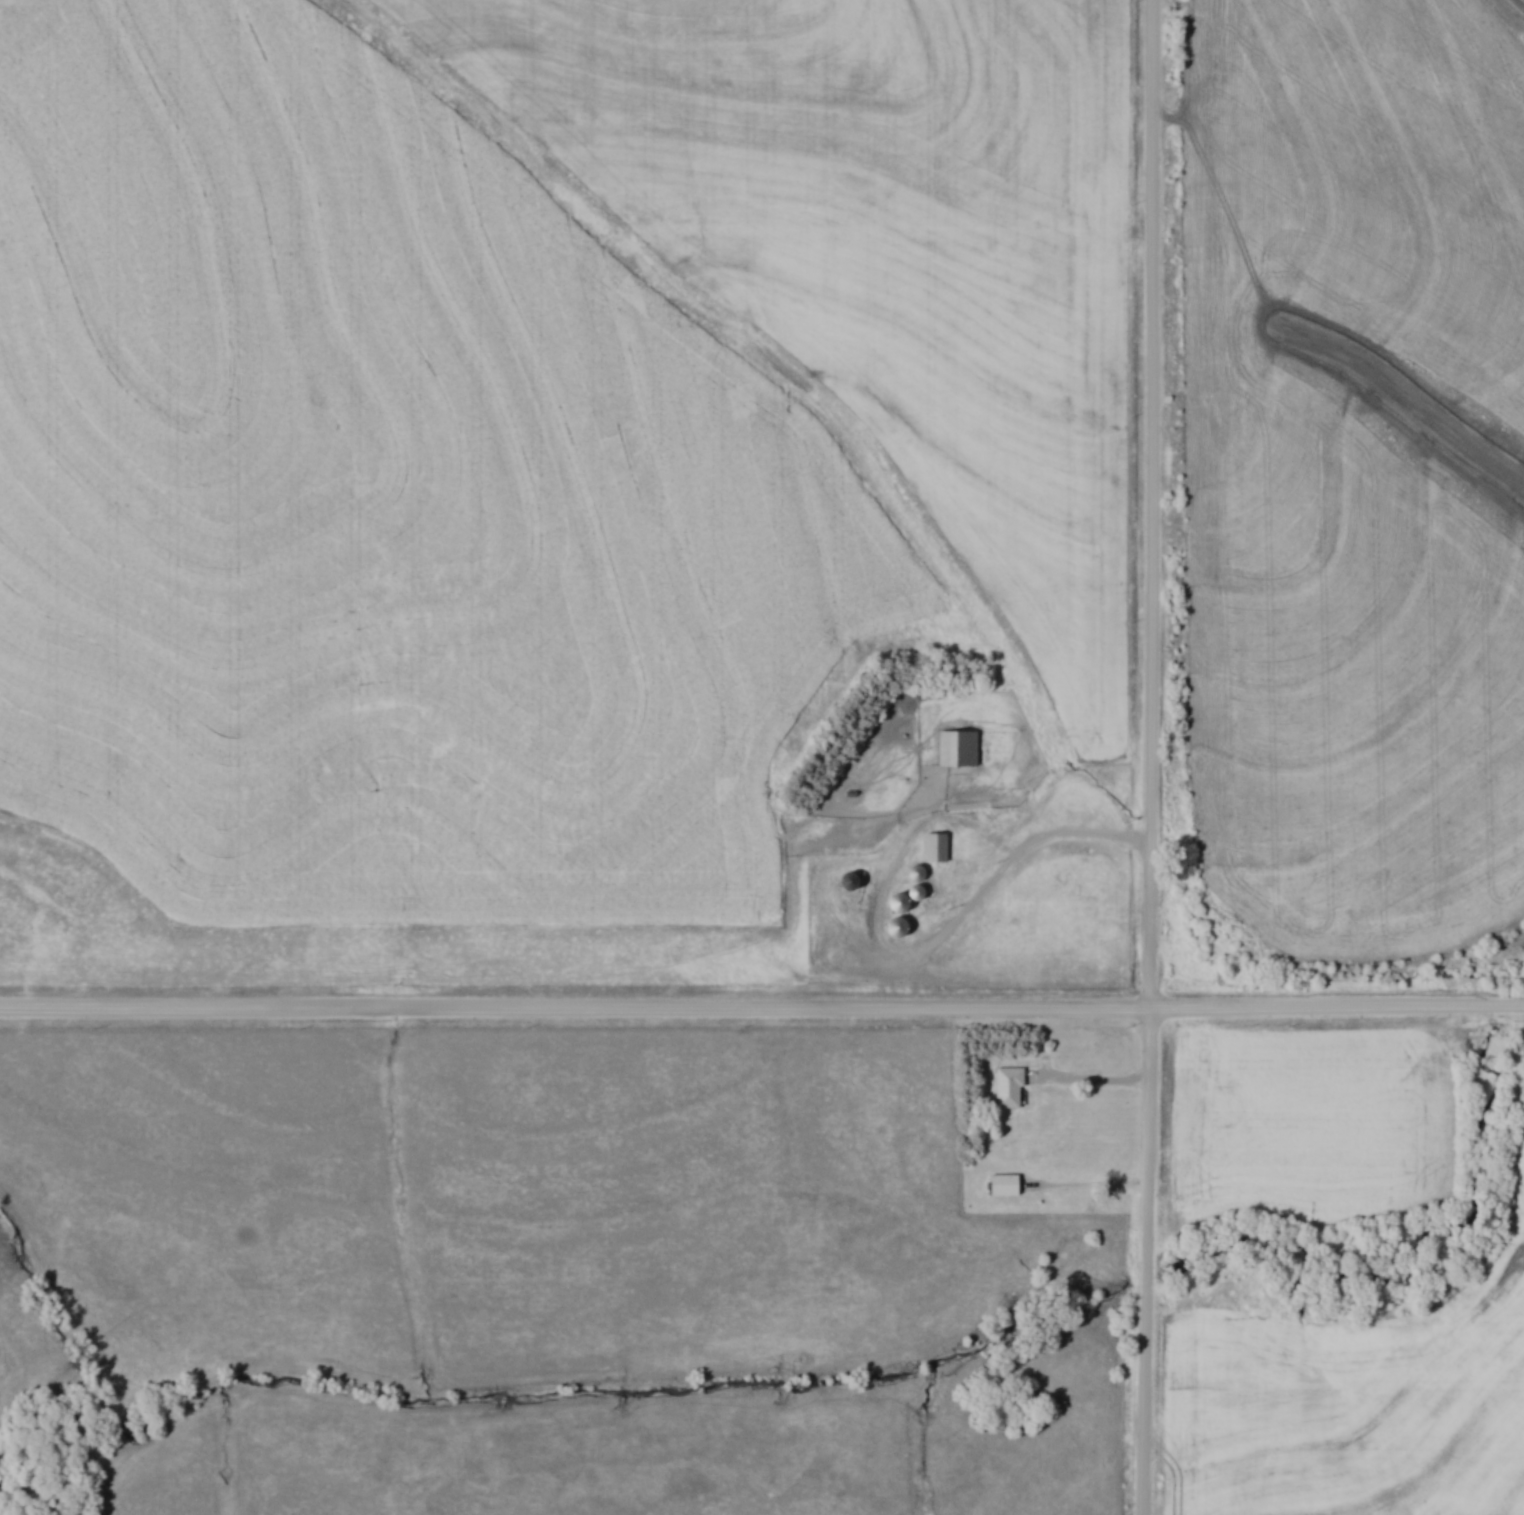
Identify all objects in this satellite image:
building: (962, 748)
road: (1155, 757)
building: (940, 847)
building: (856, 881)
building: (906, 902)
building: (903, 927)
road: (762, 1010)
road: (1092, 1086)
building: (1013, 1088)
building: (1010, 1185)

